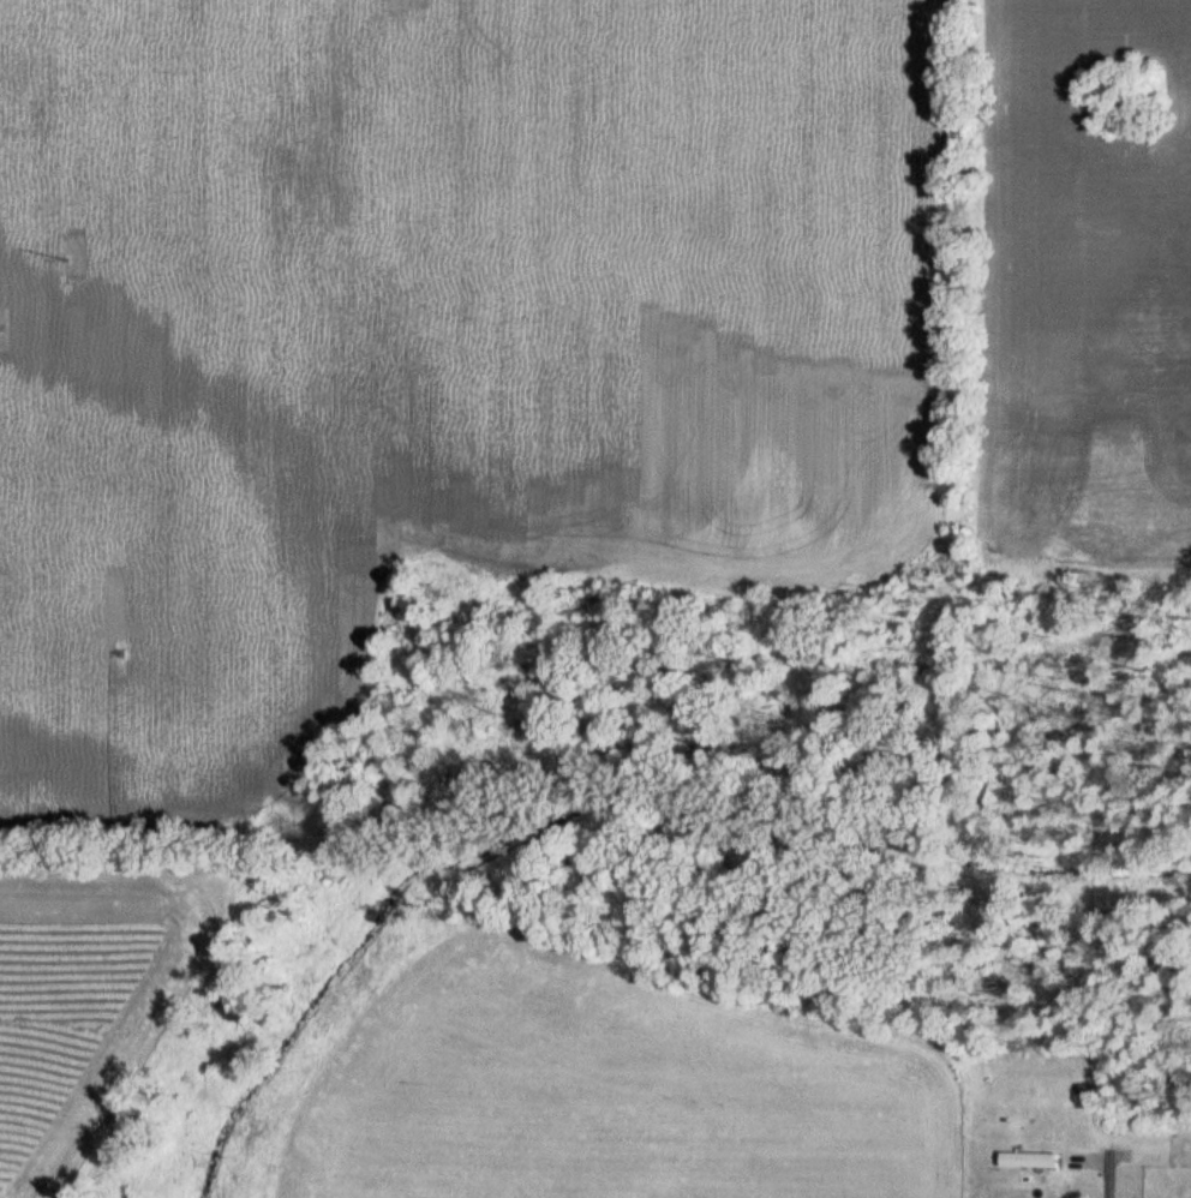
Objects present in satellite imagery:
power tower: (67, 260)
building: (1022, 1160)
road: (1106, 1176)

